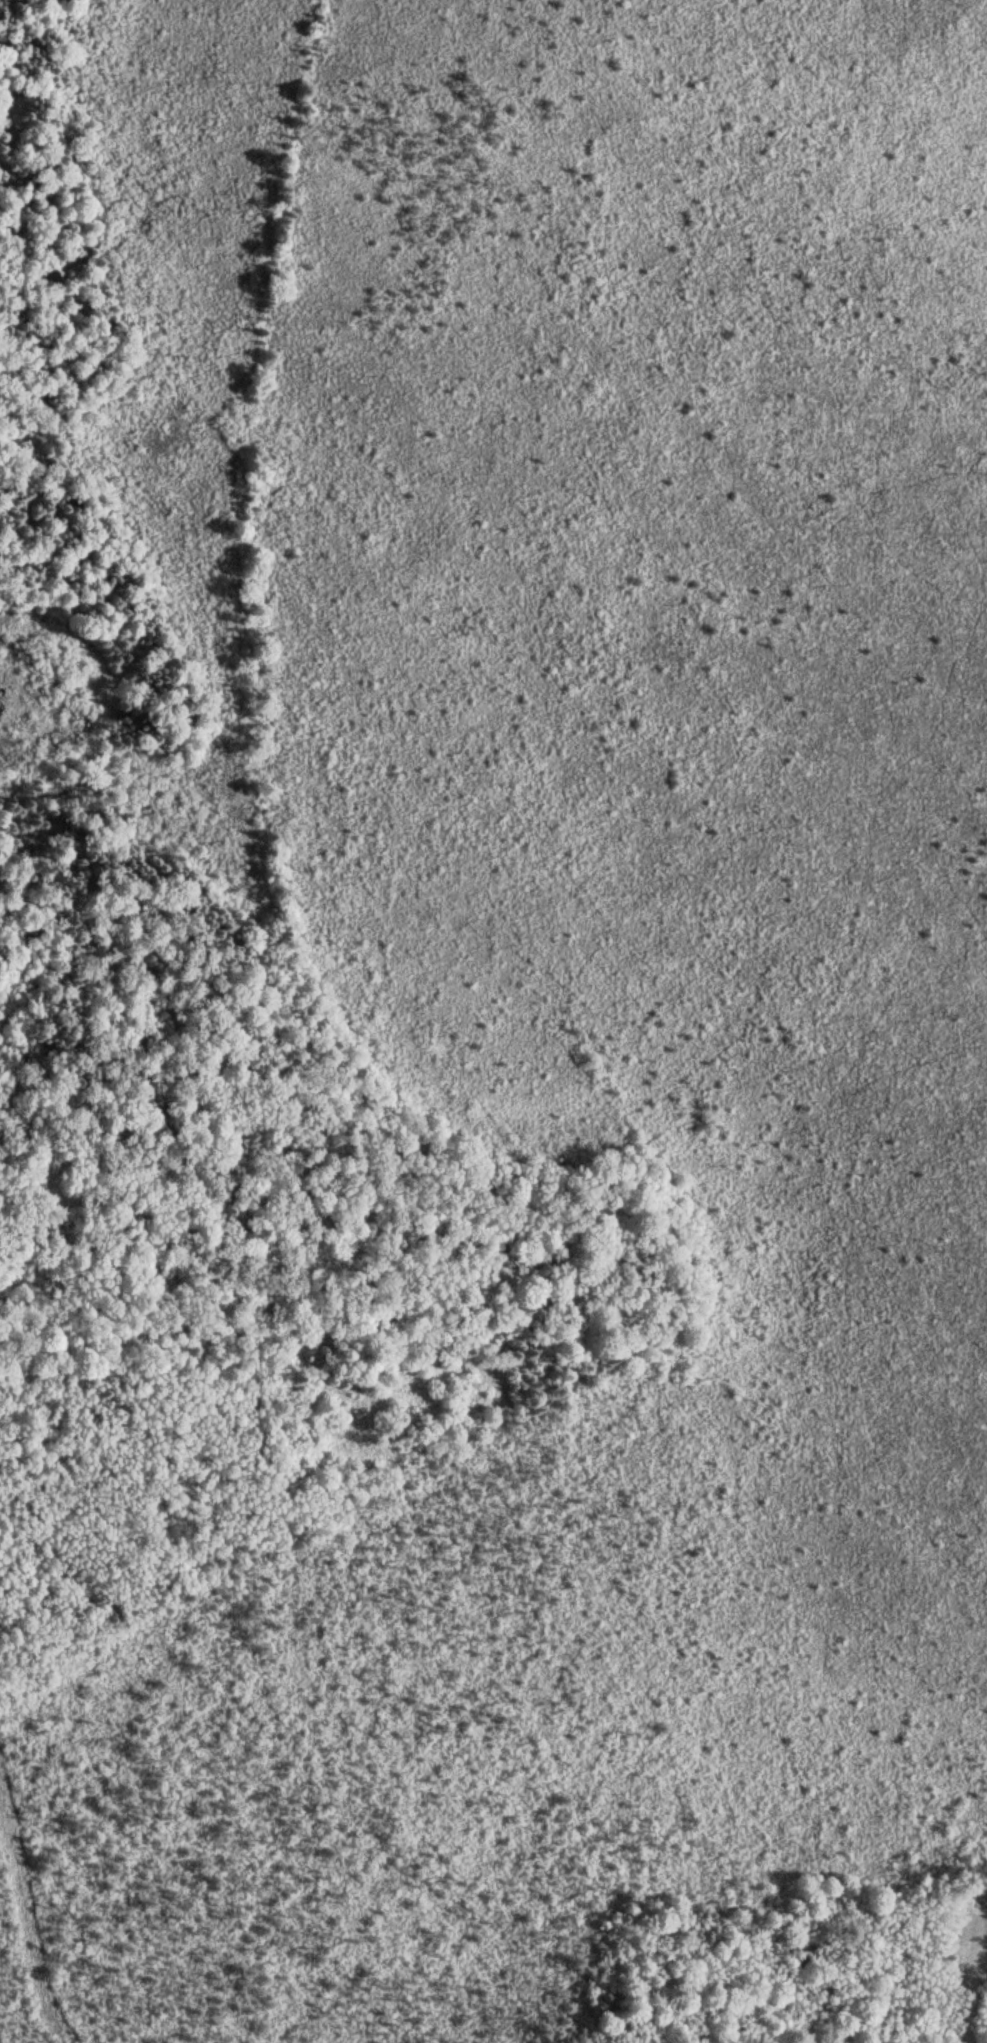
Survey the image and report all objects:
road: (961, 1987)

